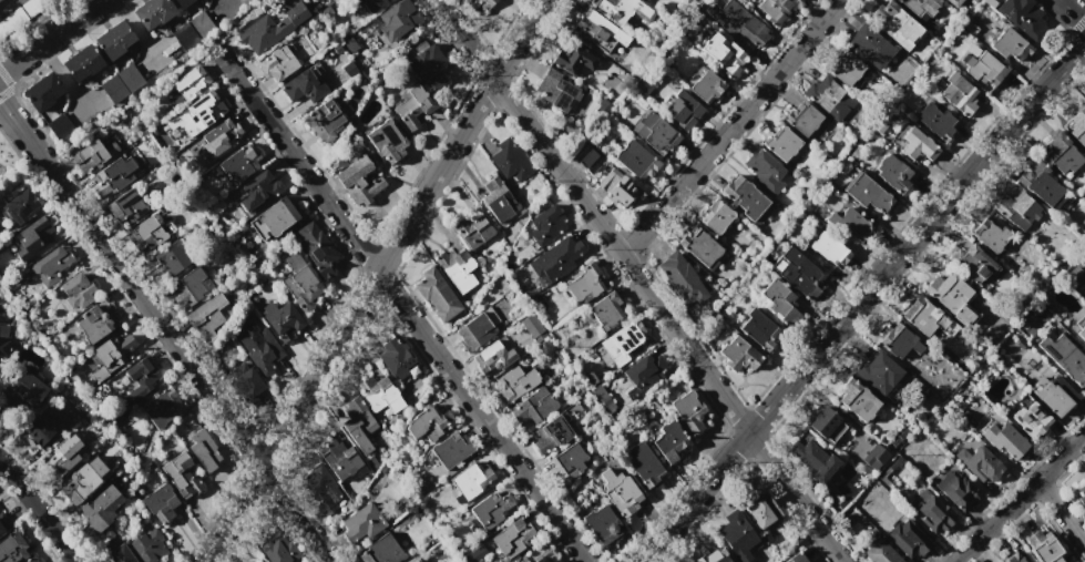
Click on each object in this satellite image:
building: (796, 0)
road: (2, 2)
road: (225, 2)
building: (954, 2)
building: (989, 2)
building: (181, 3)
building: (33, 6)
building: (367, 6)
building: (479, 6)
road: (224, 7)
building: (921, 8)
building: (772, 10)
building: (151, 12)
road: (1072, 12)
building: (625, 13)
building: (1023, 17)
building: (396, 20)
building: (11, 21)
building: (738, 22)
building: (894, 24)
building: (272, 25)
building: (968, 25)
road: (135, 29)
building: (192, 30)
building: (600, 33)
road: (50, 37)
building: (114, 40)
building: (1010, 44)
building: (869, 45)
building: (724, 52)
road: (155, 58)
building: (573, 61)
building: (278, 62)
building: (82, 64)
building: (431, 67)
building: (846, 69)
building: (984, 69)
road: (62, 75)
building: (187, 81)
building: (120, 82)
building: (645, 84)
building: (704, 85)
building: (303, 89)
building: (822, 91)
building: (42, 92)
building: (560, 93)
building: (959, 94)
road: (83, 108)
building: (411, 108)
building: (682, 110)
building: (199, 113)
building: (801, 117)
building: (933, 119)
building: (321, 120)
building: (587, 124)
building: (881, 124)
building: (60, 126)
building: (1076, 127)
road: (731, 129)
building: (655, 132)
building: (216, 139)
building: (387, 142)
building: (781, 143)
building: (915, 147)
building: (1061, 154)
building: (88, 156)
building: (509, 161)
building: (592, 161)
building: (635, 161)
building: (238, 164)
park: (11, 170)
building: (761, 170)
building: (893, 174)
building: (111, 177)
building: (360, 181)
building: (1040, 183)
building: (616, 188)
building: (255, 190)
building: (868, 196)
building: (743, 198)
building: (497, 200)
building: (20, 206)
building: (125, 207)
building: (1015, 208)
building: (714, 216)
building: (274, 218)
building: (847, 224)
building: (544, 225)
building: (472, 228)
building: (990, 234)
building: (146, 235)
building: (30, 239)
building: (699, 247)
building: (316, 248)
building: (827, 249)
building: (556, 258)
building: (172, 259)
building: (52, 264)
building: (454, 264)
building: (973, 266)
building: (797, 273)
building: (1074, 275)
building: (296, 278)
road: (370, 279)
building: (679, 279)
road: (639, 280)
building: (583, 284)
building: (188, 287)
building: (74, 290)
building: (946, 290)
building: (434, 295)
road: (860, 300)
road: (400, 303)
building: (780, 305)
building: (605, 311)
building: (208, 315)
building: (921, 317)
building: (280, 318)
building: (95, 321)
building: (531, 326)
building: (479, 329)
road: (165, 331)
building: (761, 333)
building: (1082, 333)
building: (625, 341)
building: (899, 344)
building: (114, 348)
building: (3, 349)
building: (263, 349)
building: (738, 355)
building: (492, 357)
building: (1064, 357)
building: (395, 358)
building: (646, 372)
building: (878, 372)
building: (135, 380)
building: (246, 382)
building: (513, 382)
building: (24, 391)
building: (1053, 392)
building: (378, 396)
building: (854, 400)
building: (532, 408)
building: (162, 409)
building: (689, 411)
building: (1032, 420)
building: (429, 422)
building: (358, 423)
building: (825, 426)
building: (40, 432)
building: (549, 436)
building: (669, 441)
building: (1003, 441)
building: (203, 450)
building: (450, 450)
building: (877, 453)
building: (811, 458)
building: (59, 460)
building: (341, 460)
building: (977, 461)
building: (567, 464)
building: (642, 466)
building: (182, 476)
building: (470, 479)
building: (83, 480)
building: (320, 489)
building: (618, 490)
building: (955, 491)
building: (1079, 494)
road: (1020, 498)
building: (161, 503)
building: (101, 509)
building: (491, 509)
road: (1062, 510)
road: (38, 511)
building: (932, 517)
building: (764, 519)
building: (2, 523)
building: (359, 524)
building: (600, 524)
building: (737, 537)
building: (905, 539)
building: (509, 541)
building: (151, 546)
building: (12, 548)
building: (278, 548)
building: (380, 551)
building: (876, 552)
building: (1047, 552)
building: (119, 555)
building: (712, 555)
building: (546, 558)
building: (796, 558)
building: (1014, 559)
building: (29, 560)
building: (410, 560)

